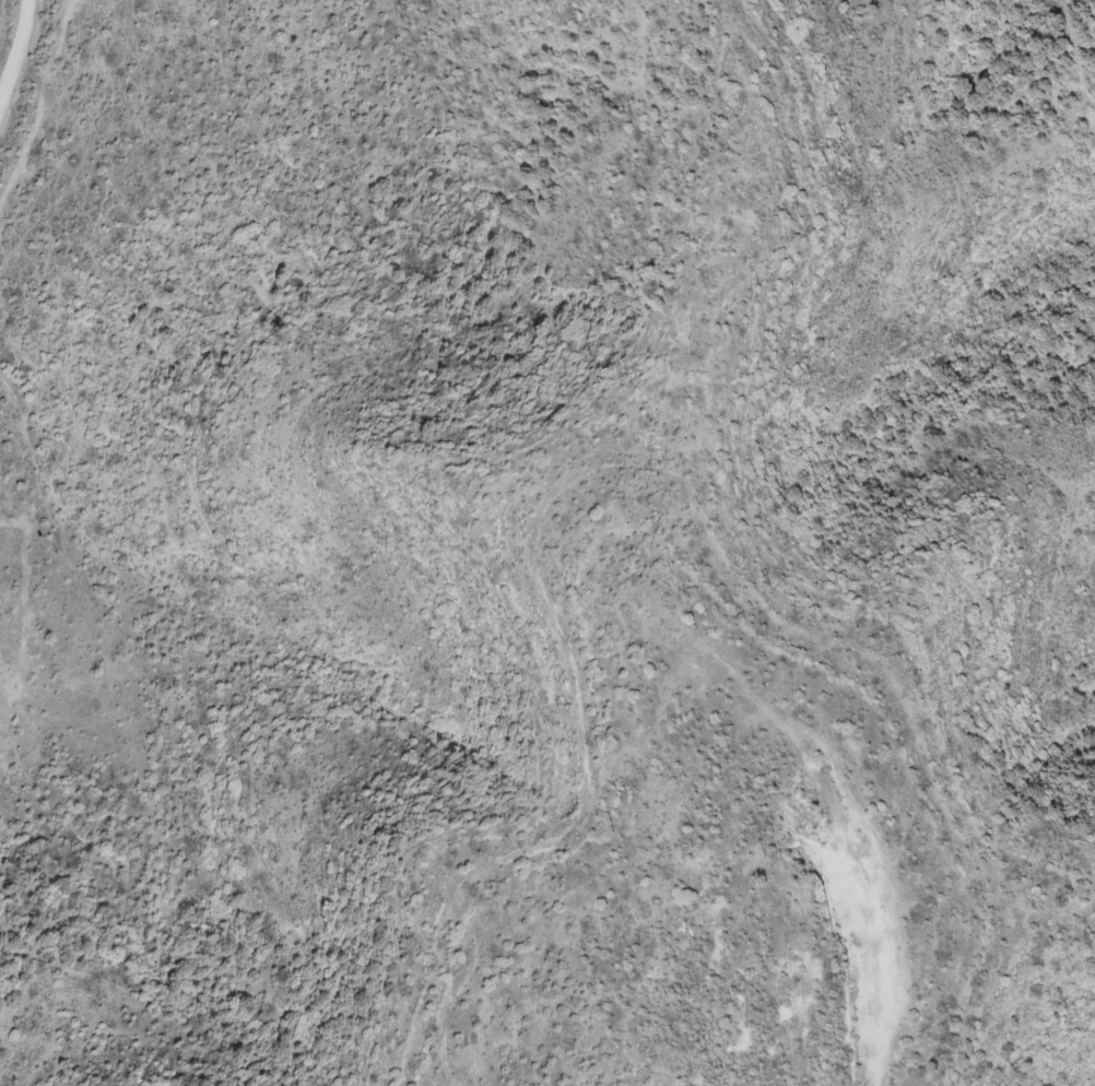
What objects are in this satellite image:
road: (19, 56)

